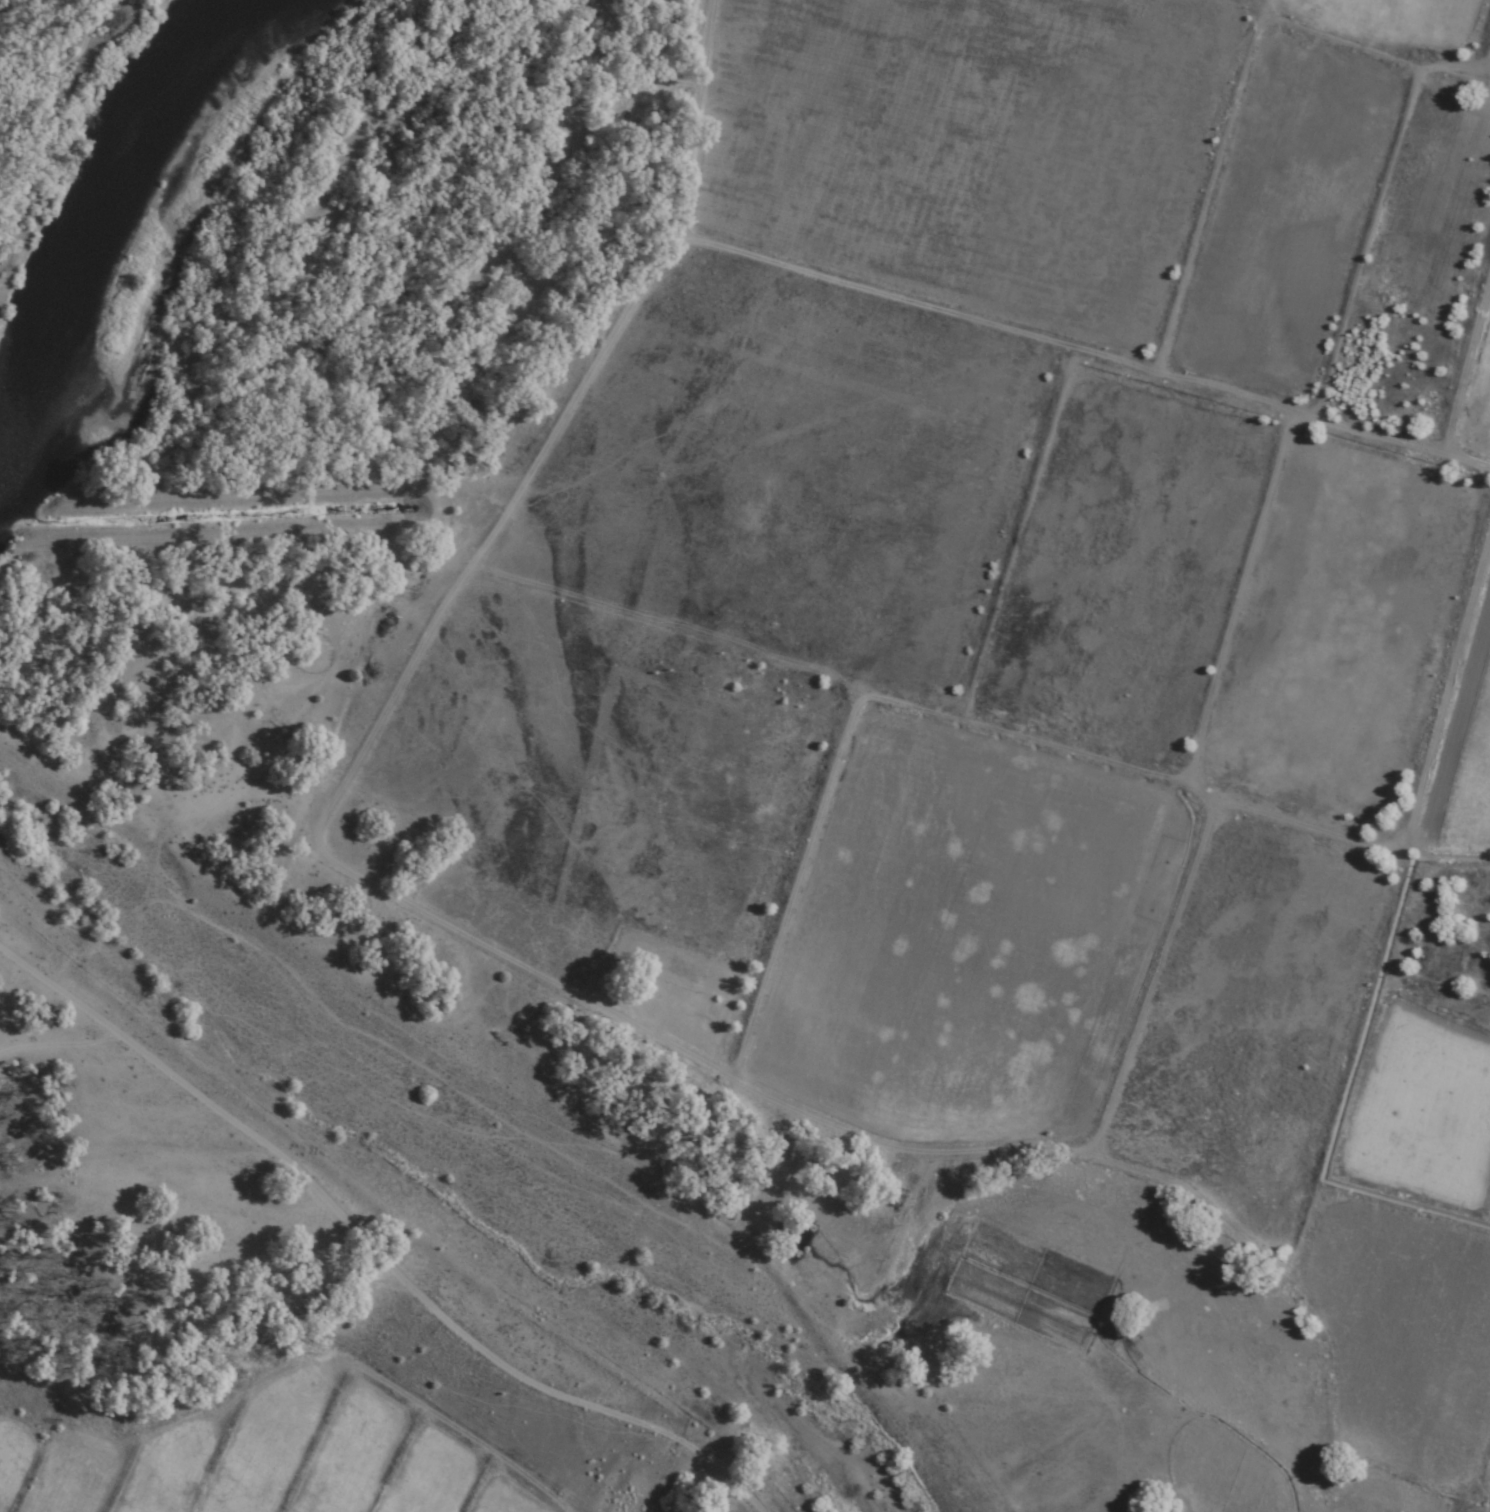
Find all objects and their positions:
river: (115, 214)
river: (435, 1161)

